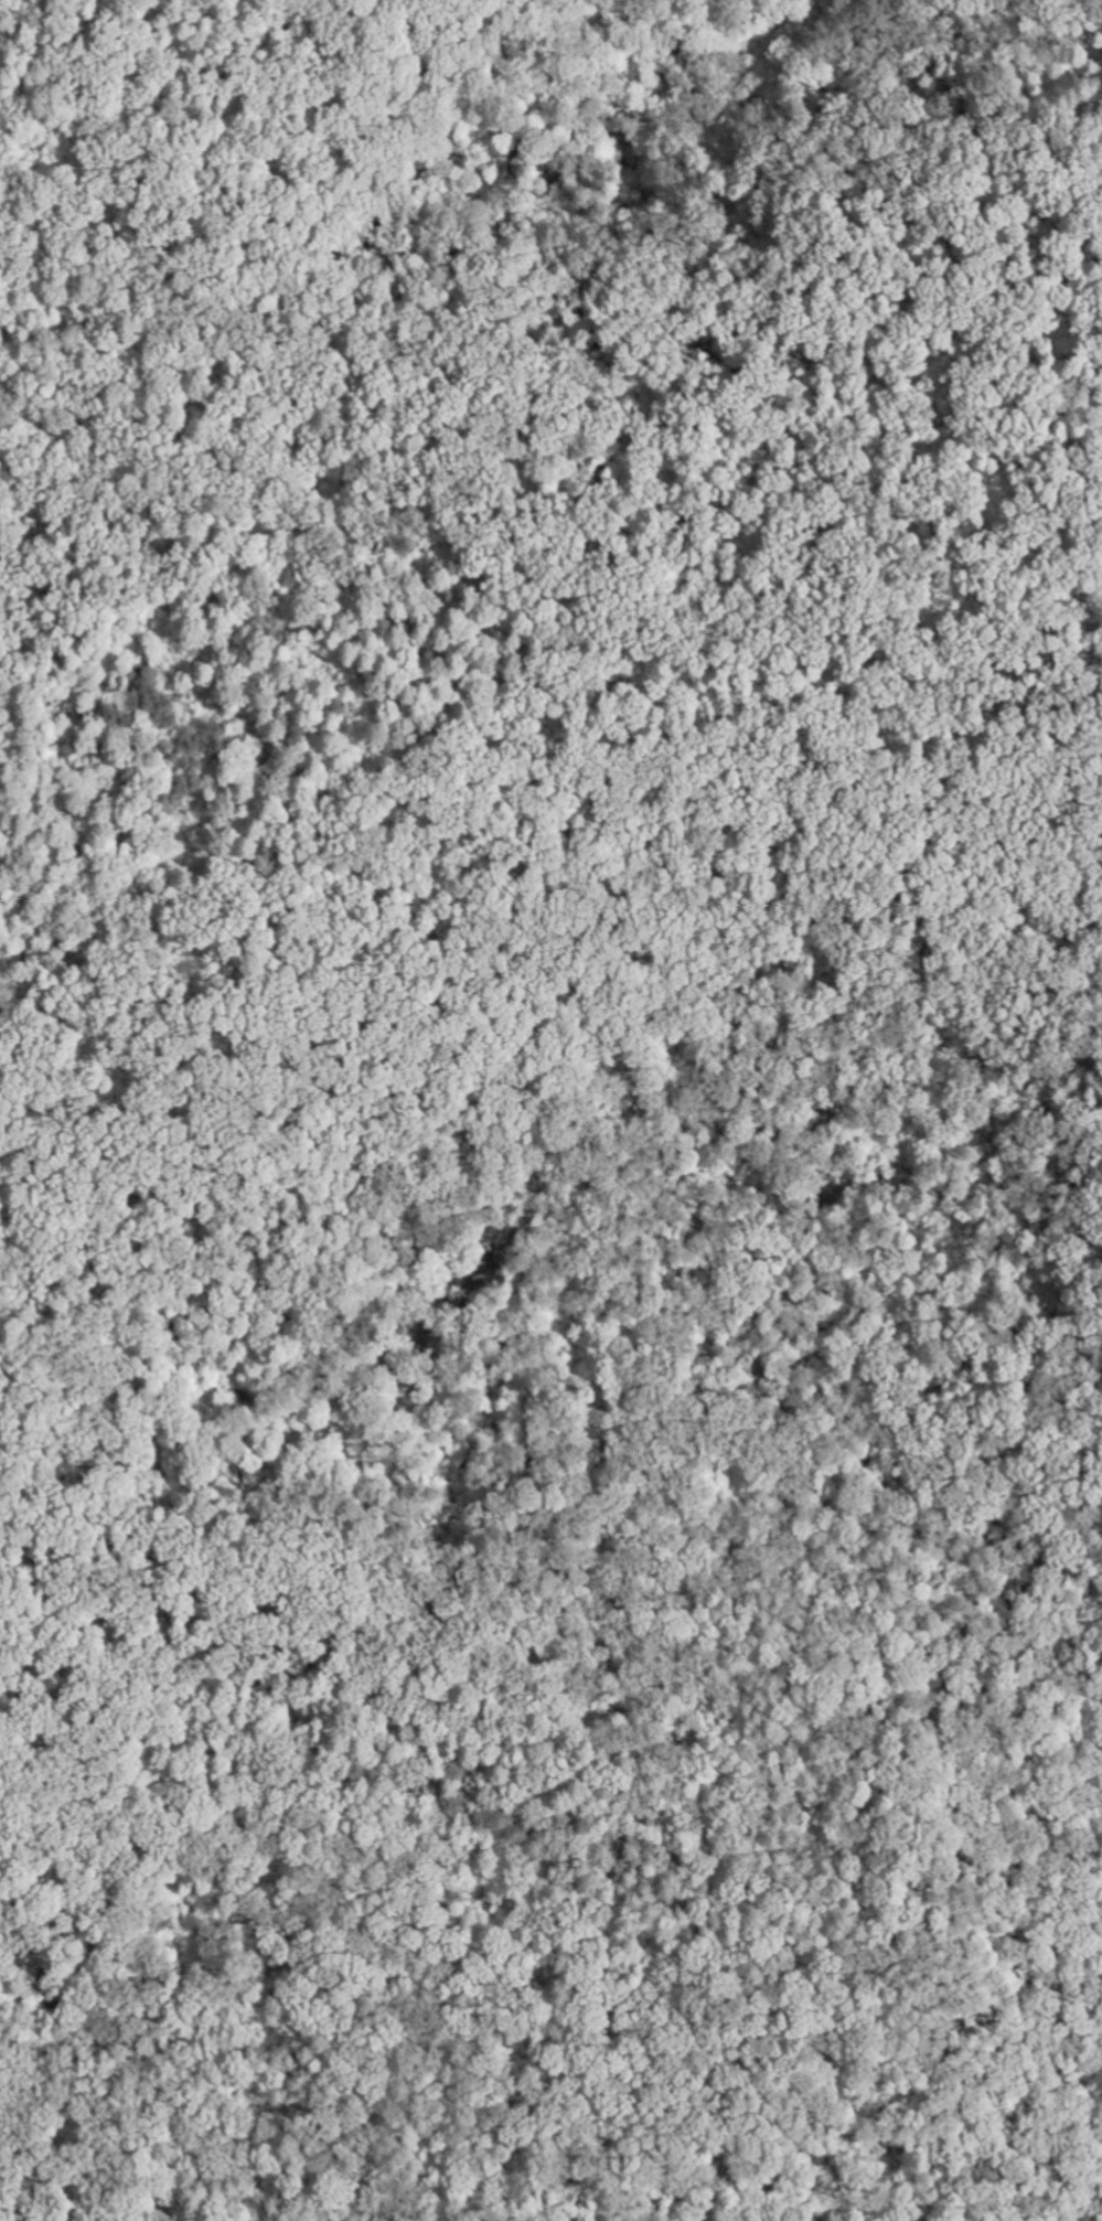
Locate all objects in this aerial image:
road: (749, 1665)

